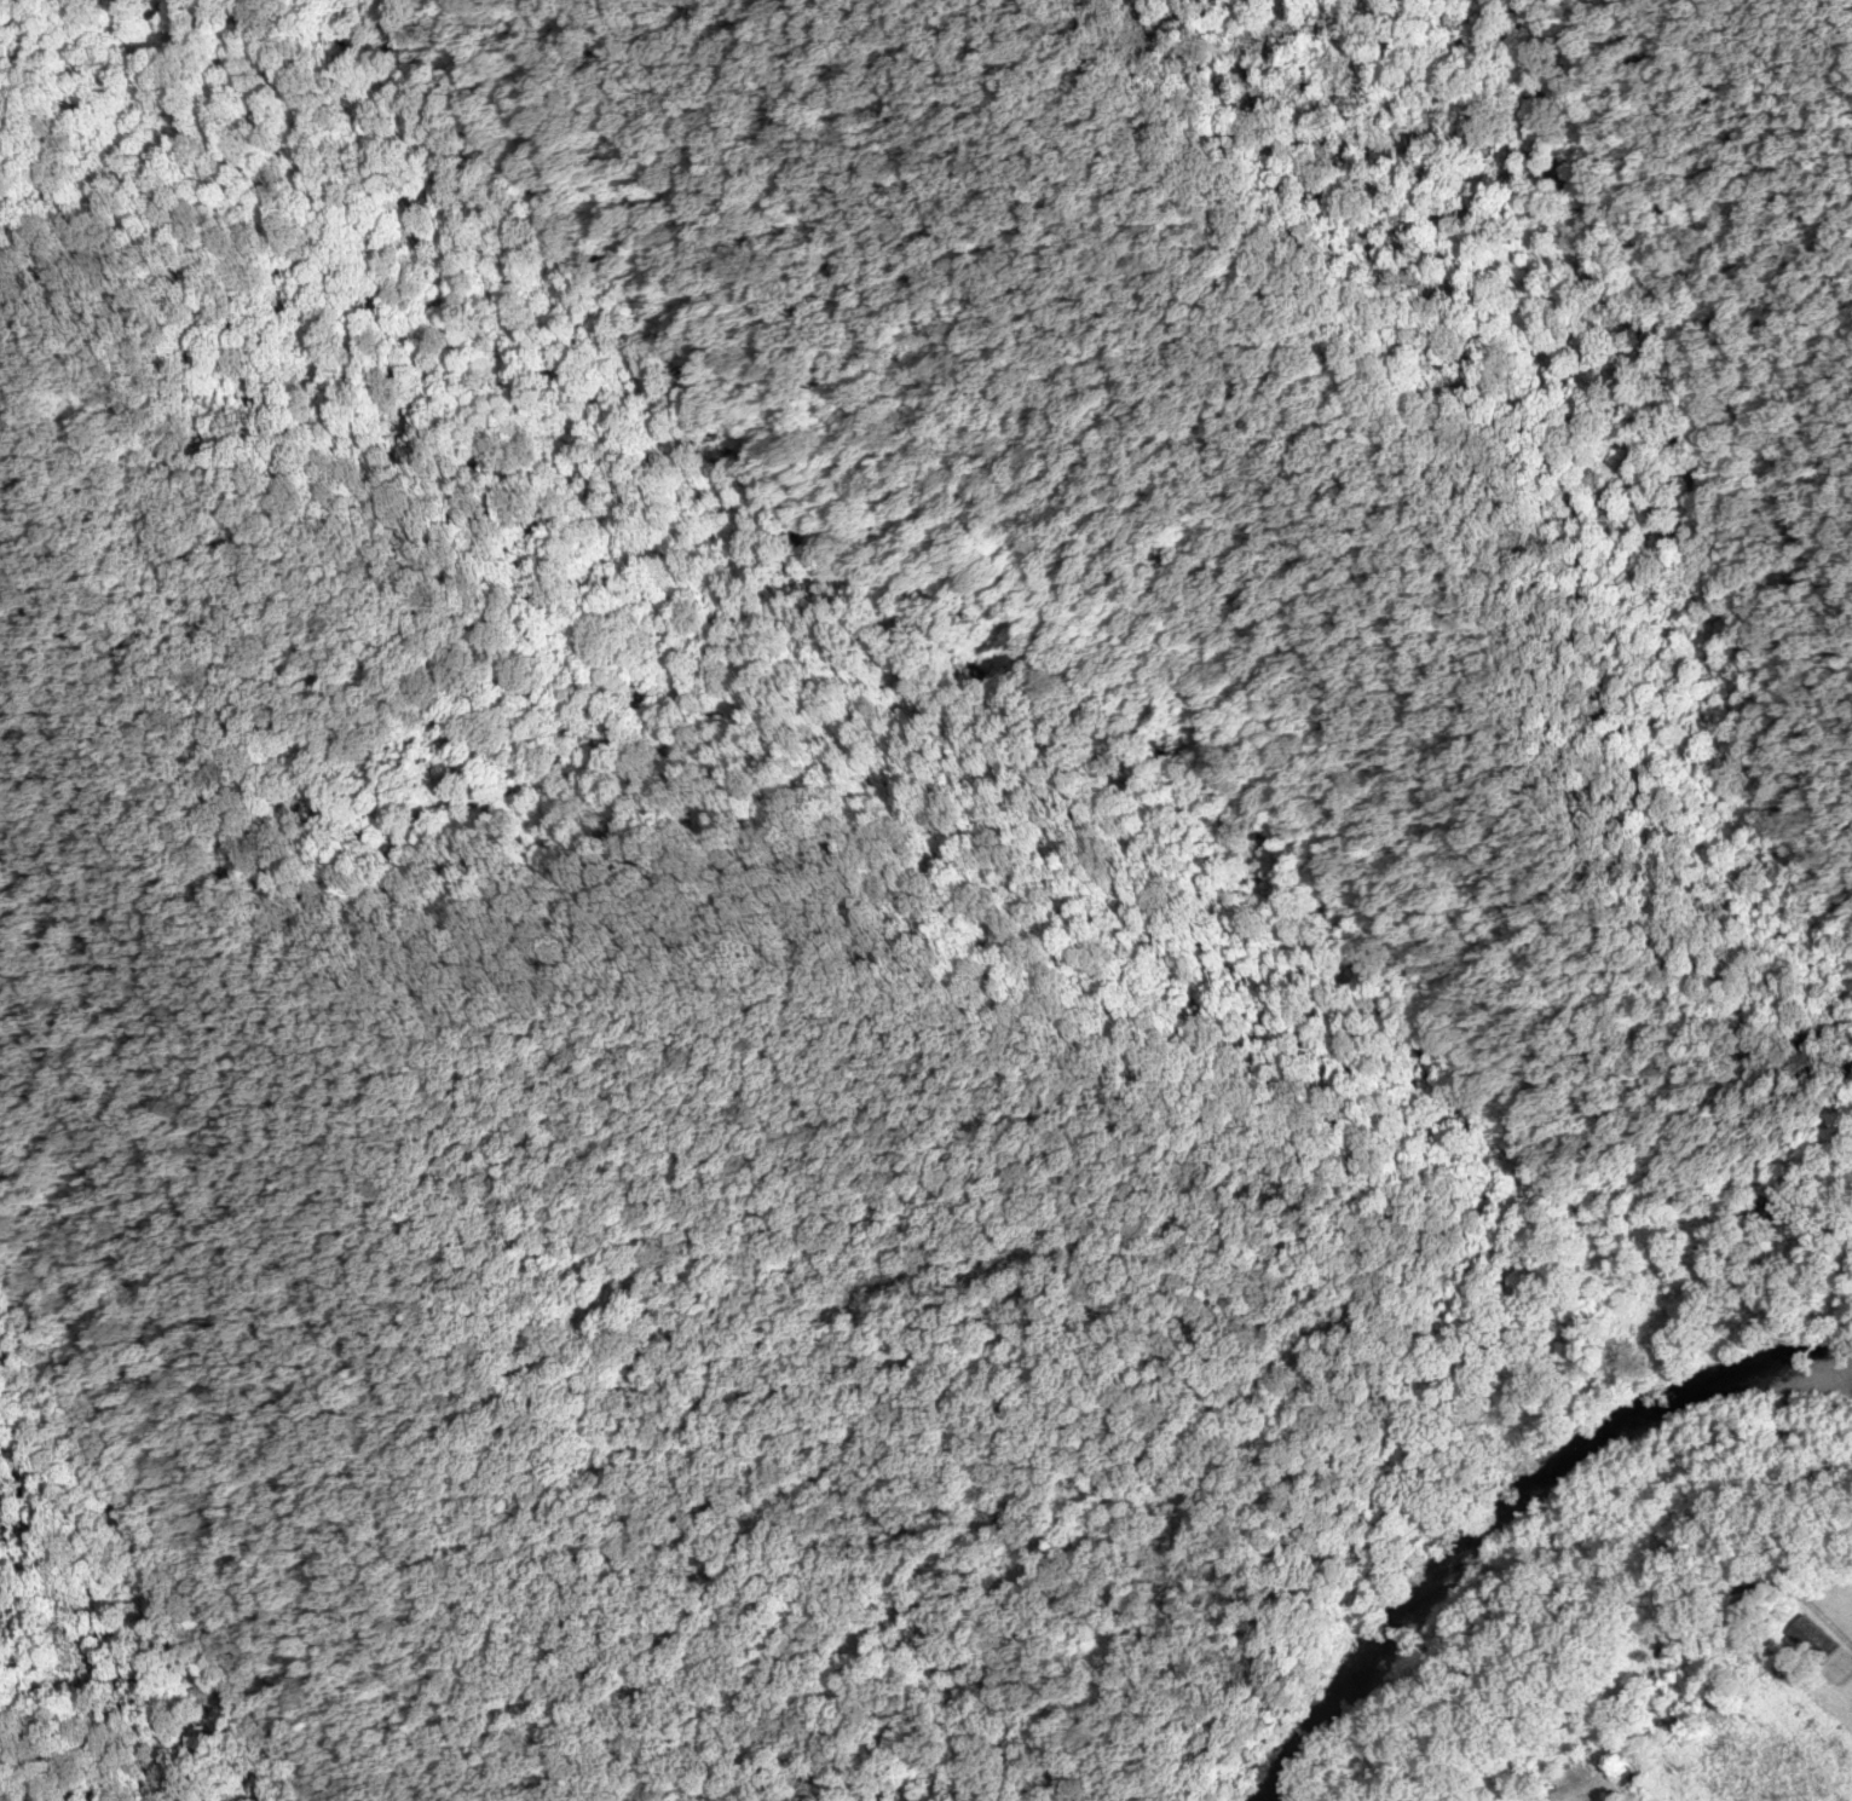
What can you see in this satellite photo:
river: (1528, 1513)

